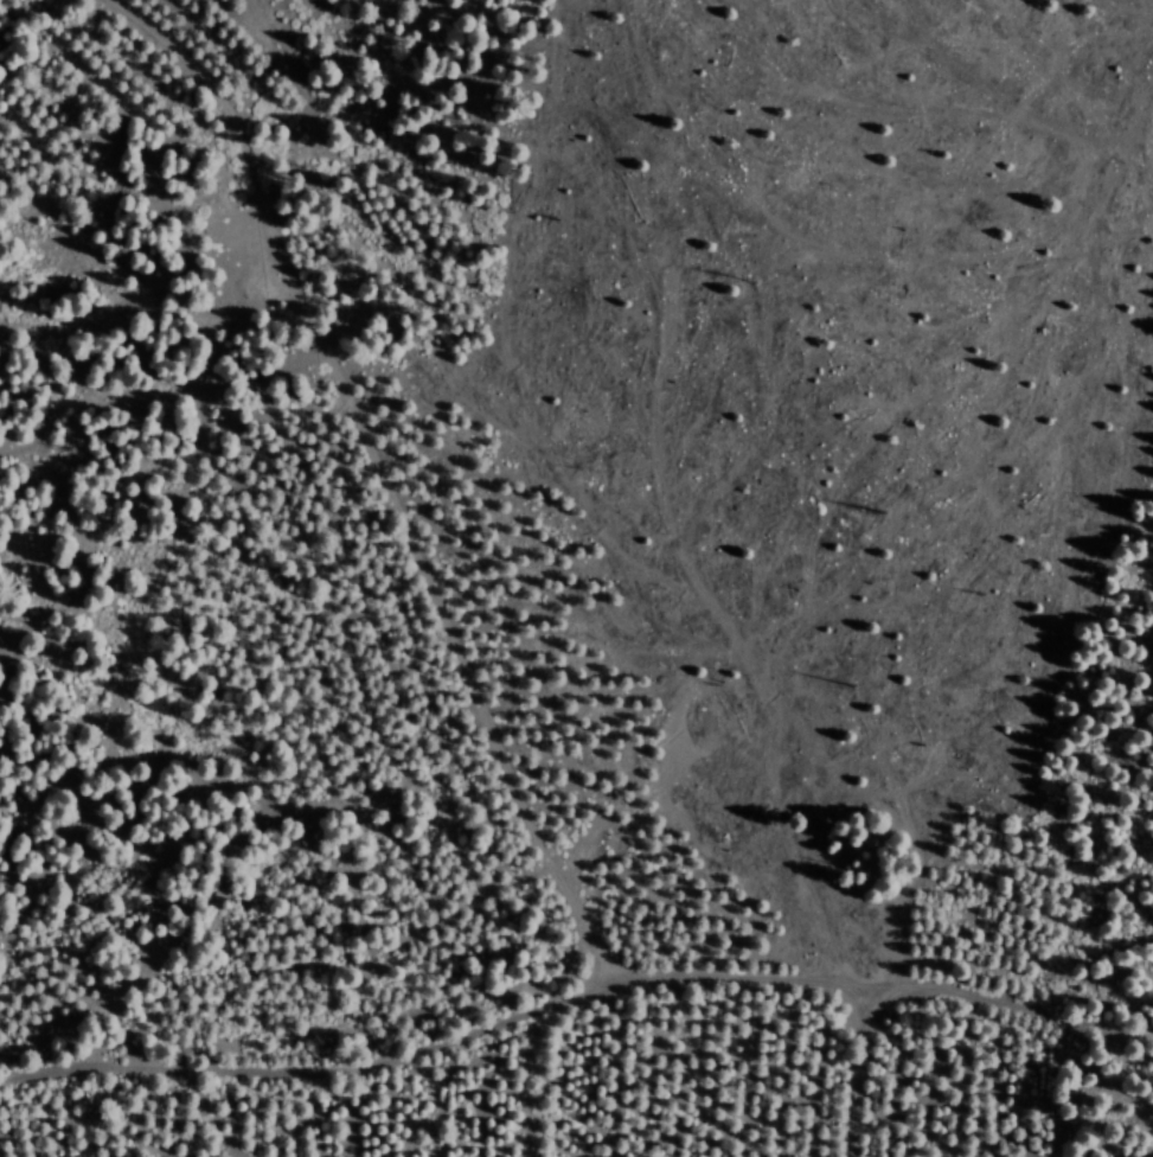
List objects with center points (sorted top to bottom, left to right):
road: (402, 466)
road: (489, 1016)
road: (995, 1030)

